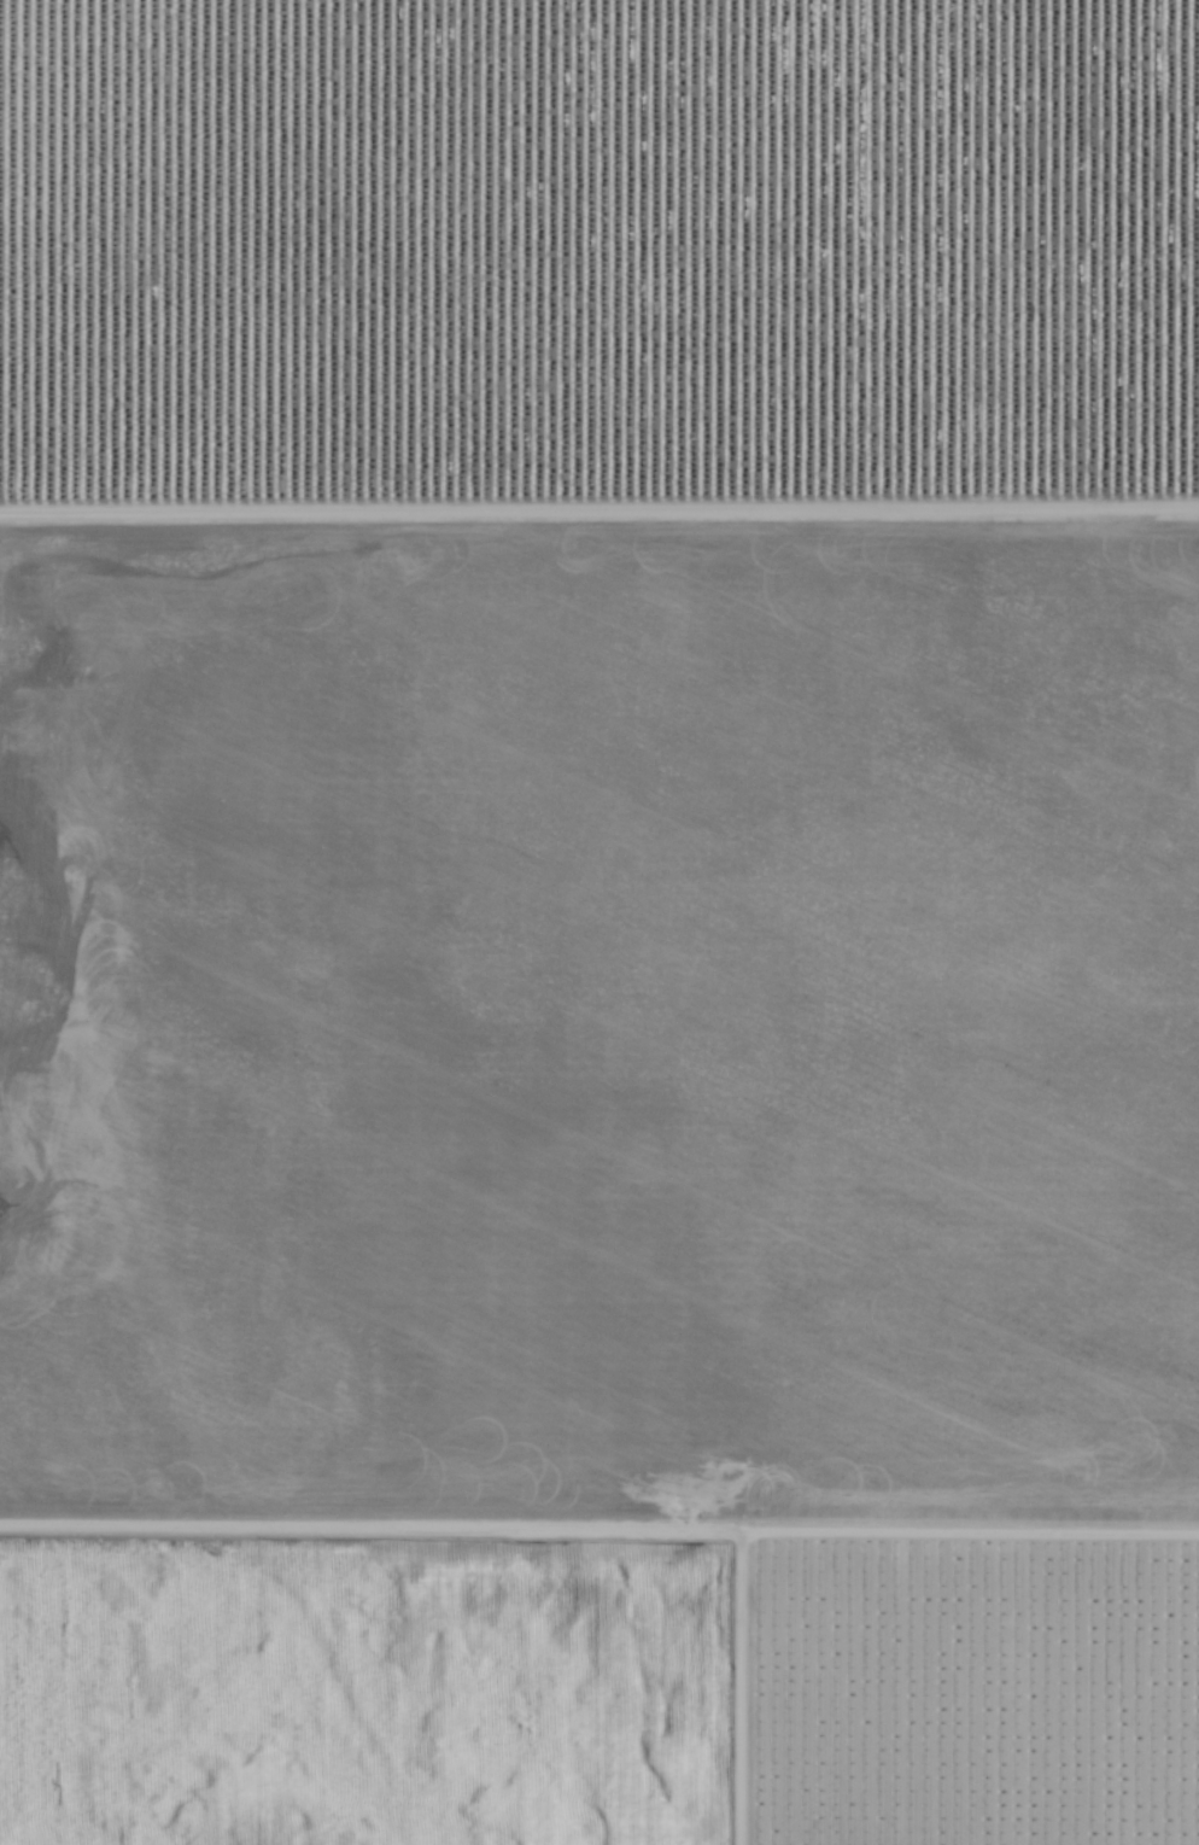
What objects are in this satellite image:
road: (599, 603)

